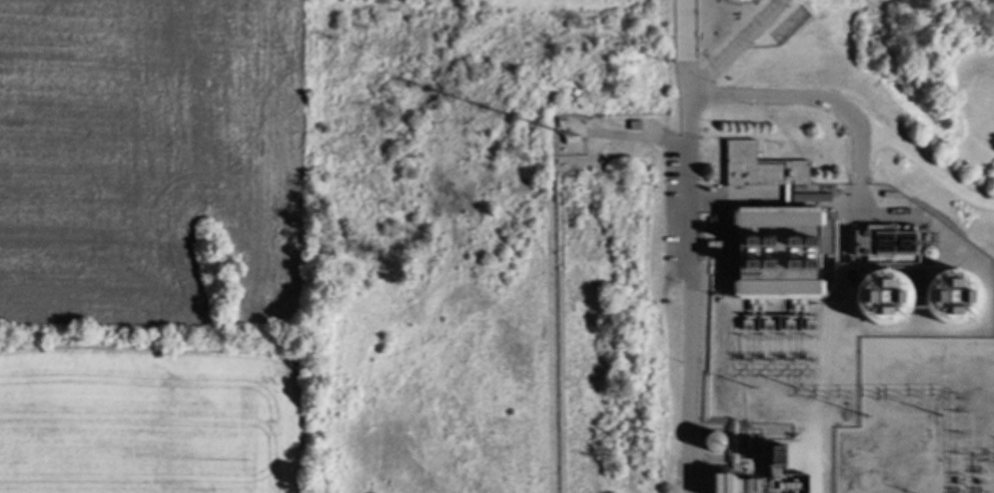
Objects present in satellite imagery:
road: (732, 48)
road: (688, 49)
road: (852, 111)
crop: (151, 156)
building: (760, 167)
building: (712, 247)
building: (775, 250)
road: (689, 296)
building: (950, 297)
storage tank: (950, 297)
building: (881, 299)
storage tank: (881, 299)
power substation: (920, 418)
crop: (148, 423)

